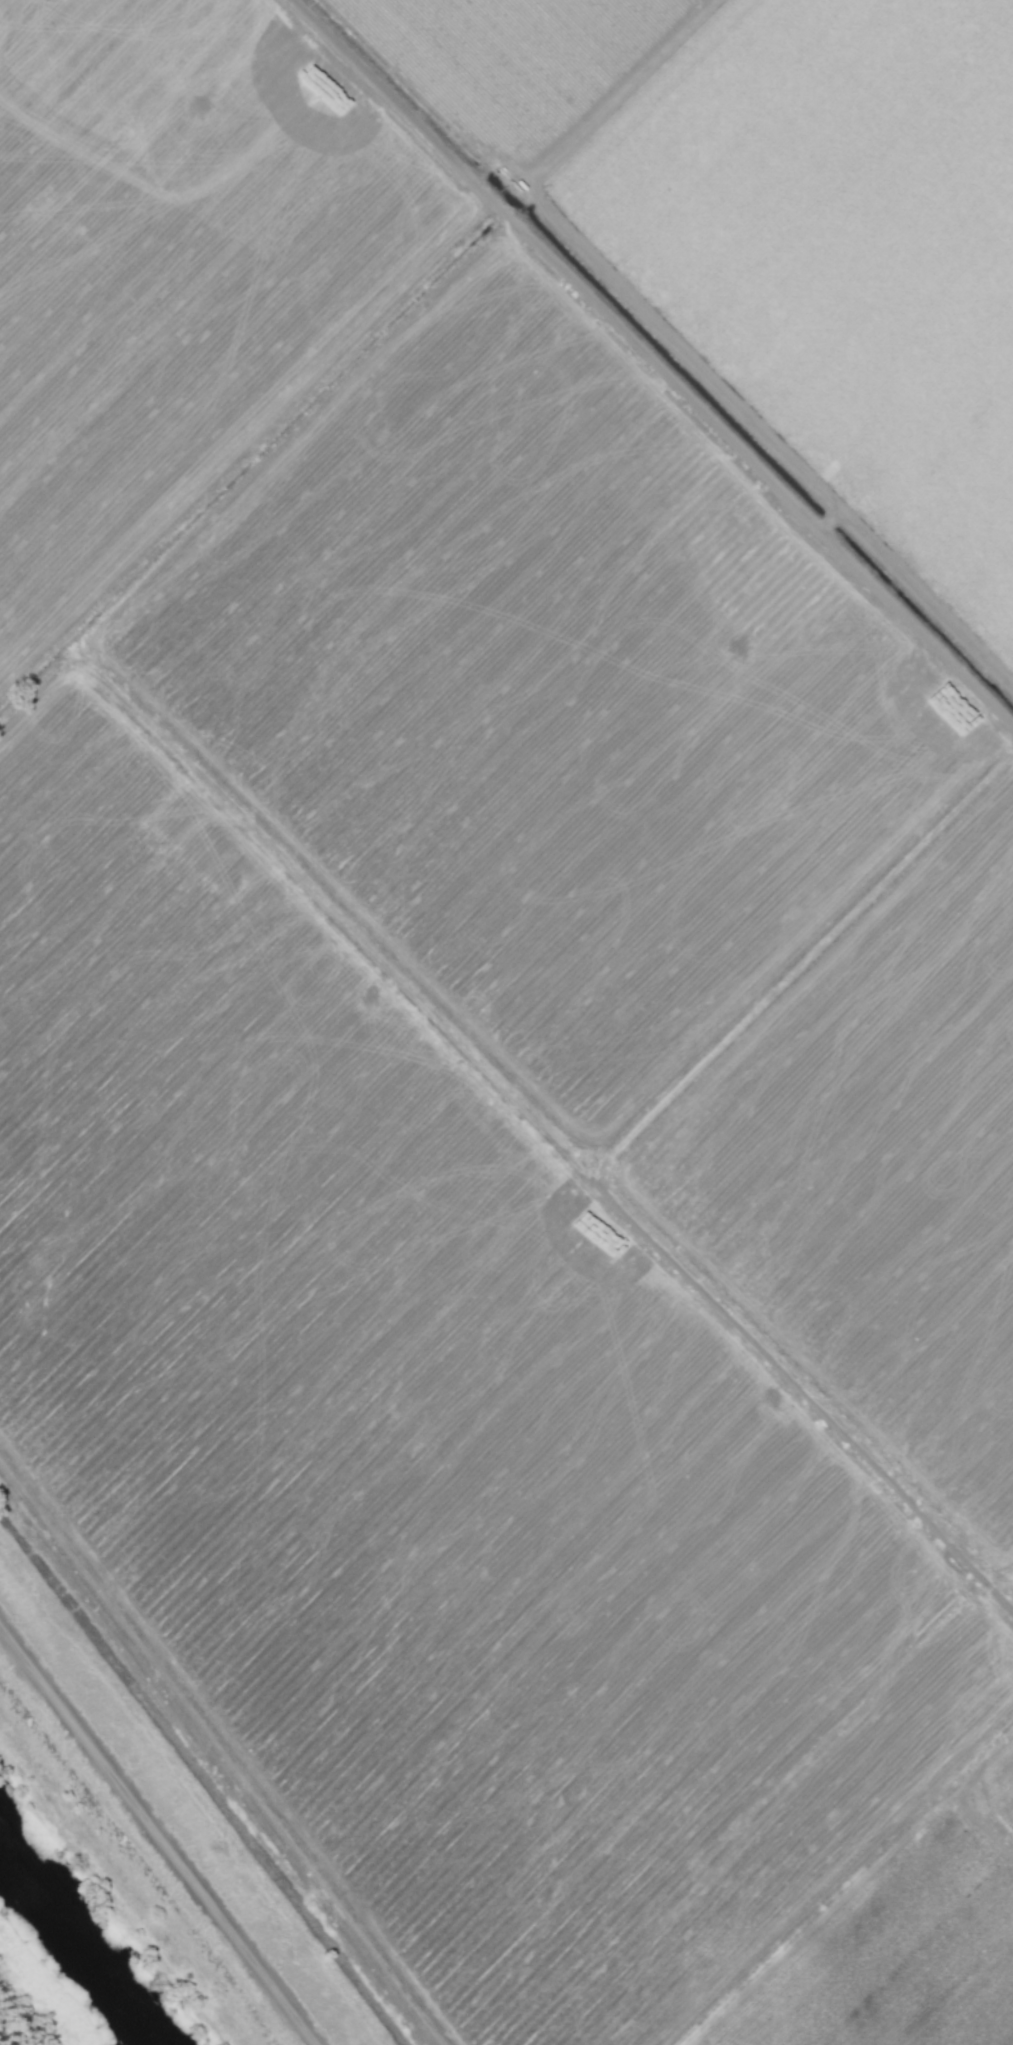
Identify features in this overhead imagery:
road: (652, 364)
crop: (523, 985)
crop: (31, 2003)

